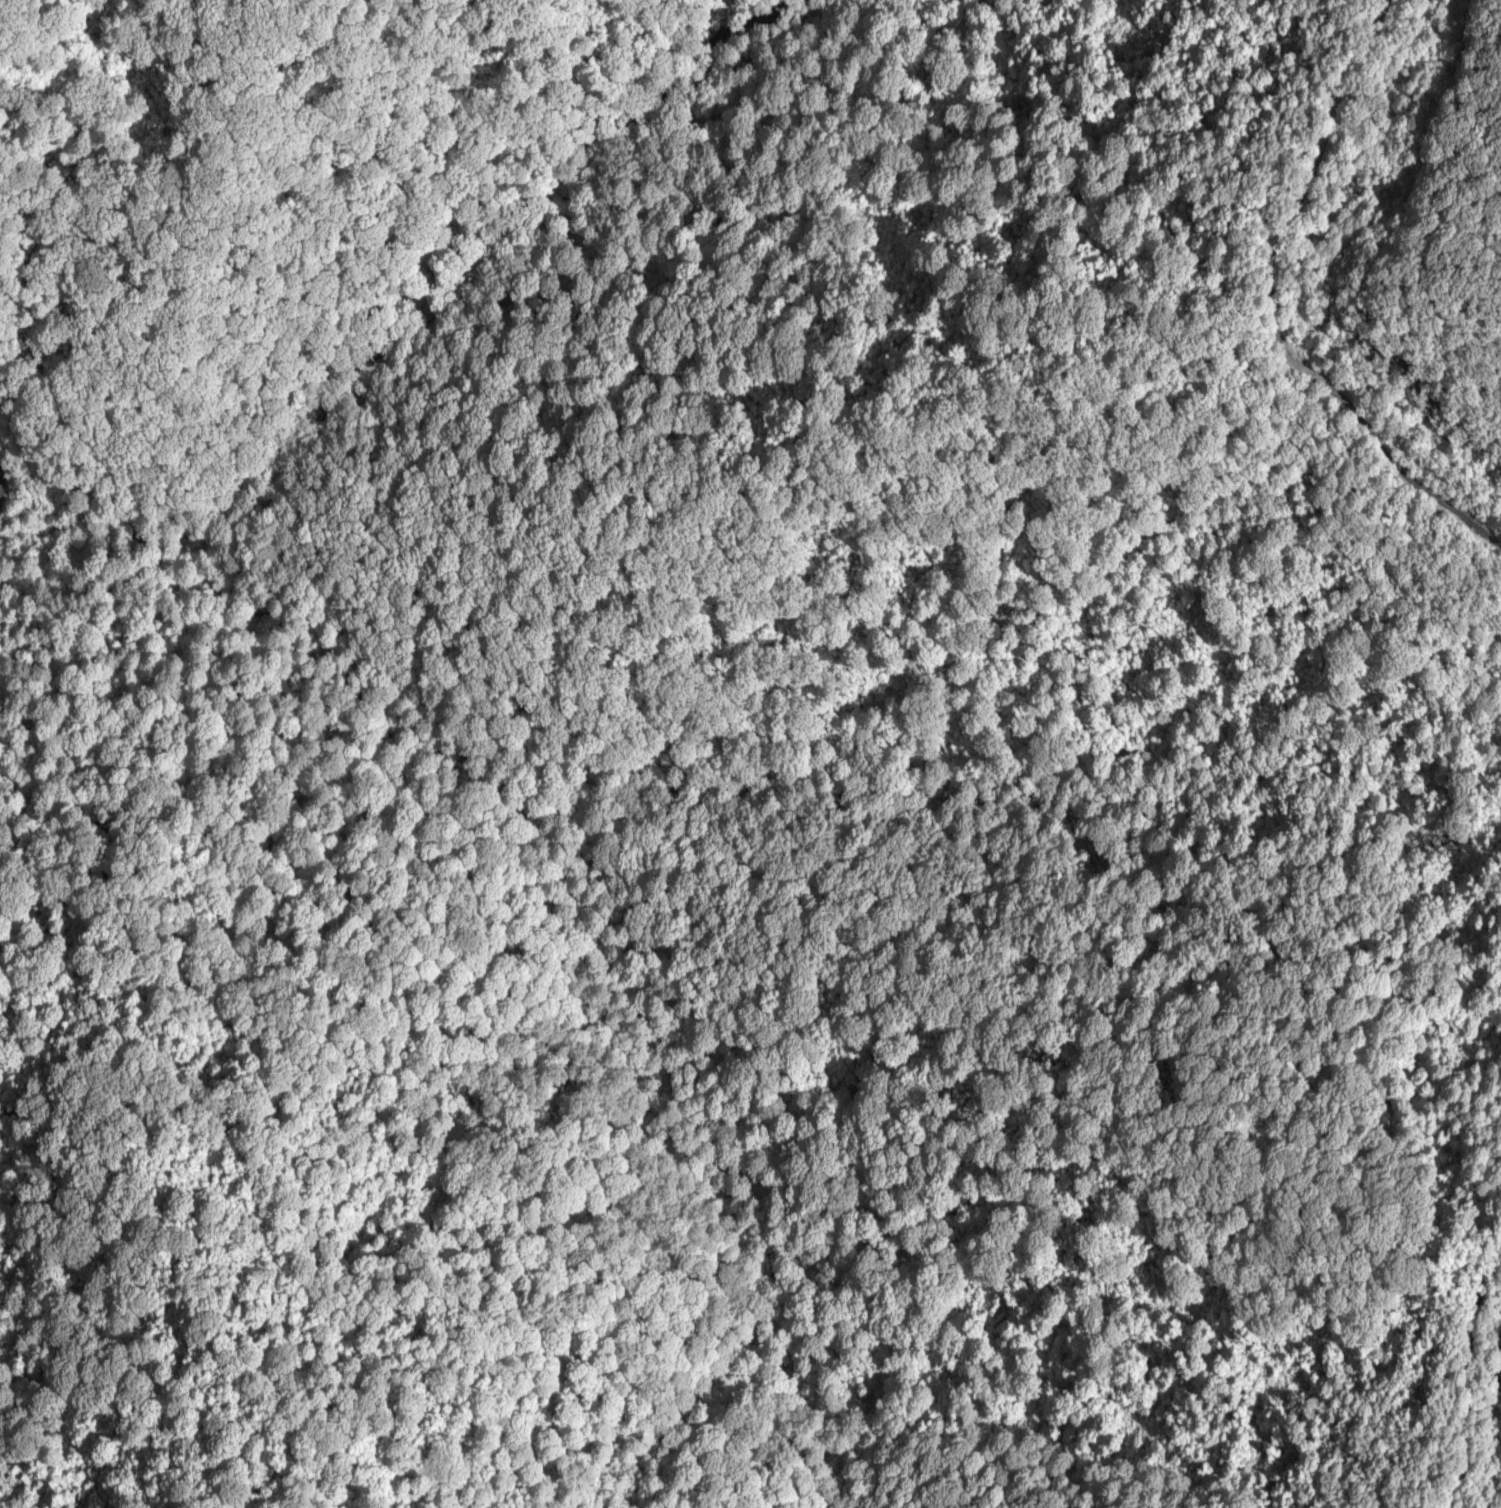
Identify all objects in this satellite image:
road: (1331, 266)
road: (1453, 1395)

